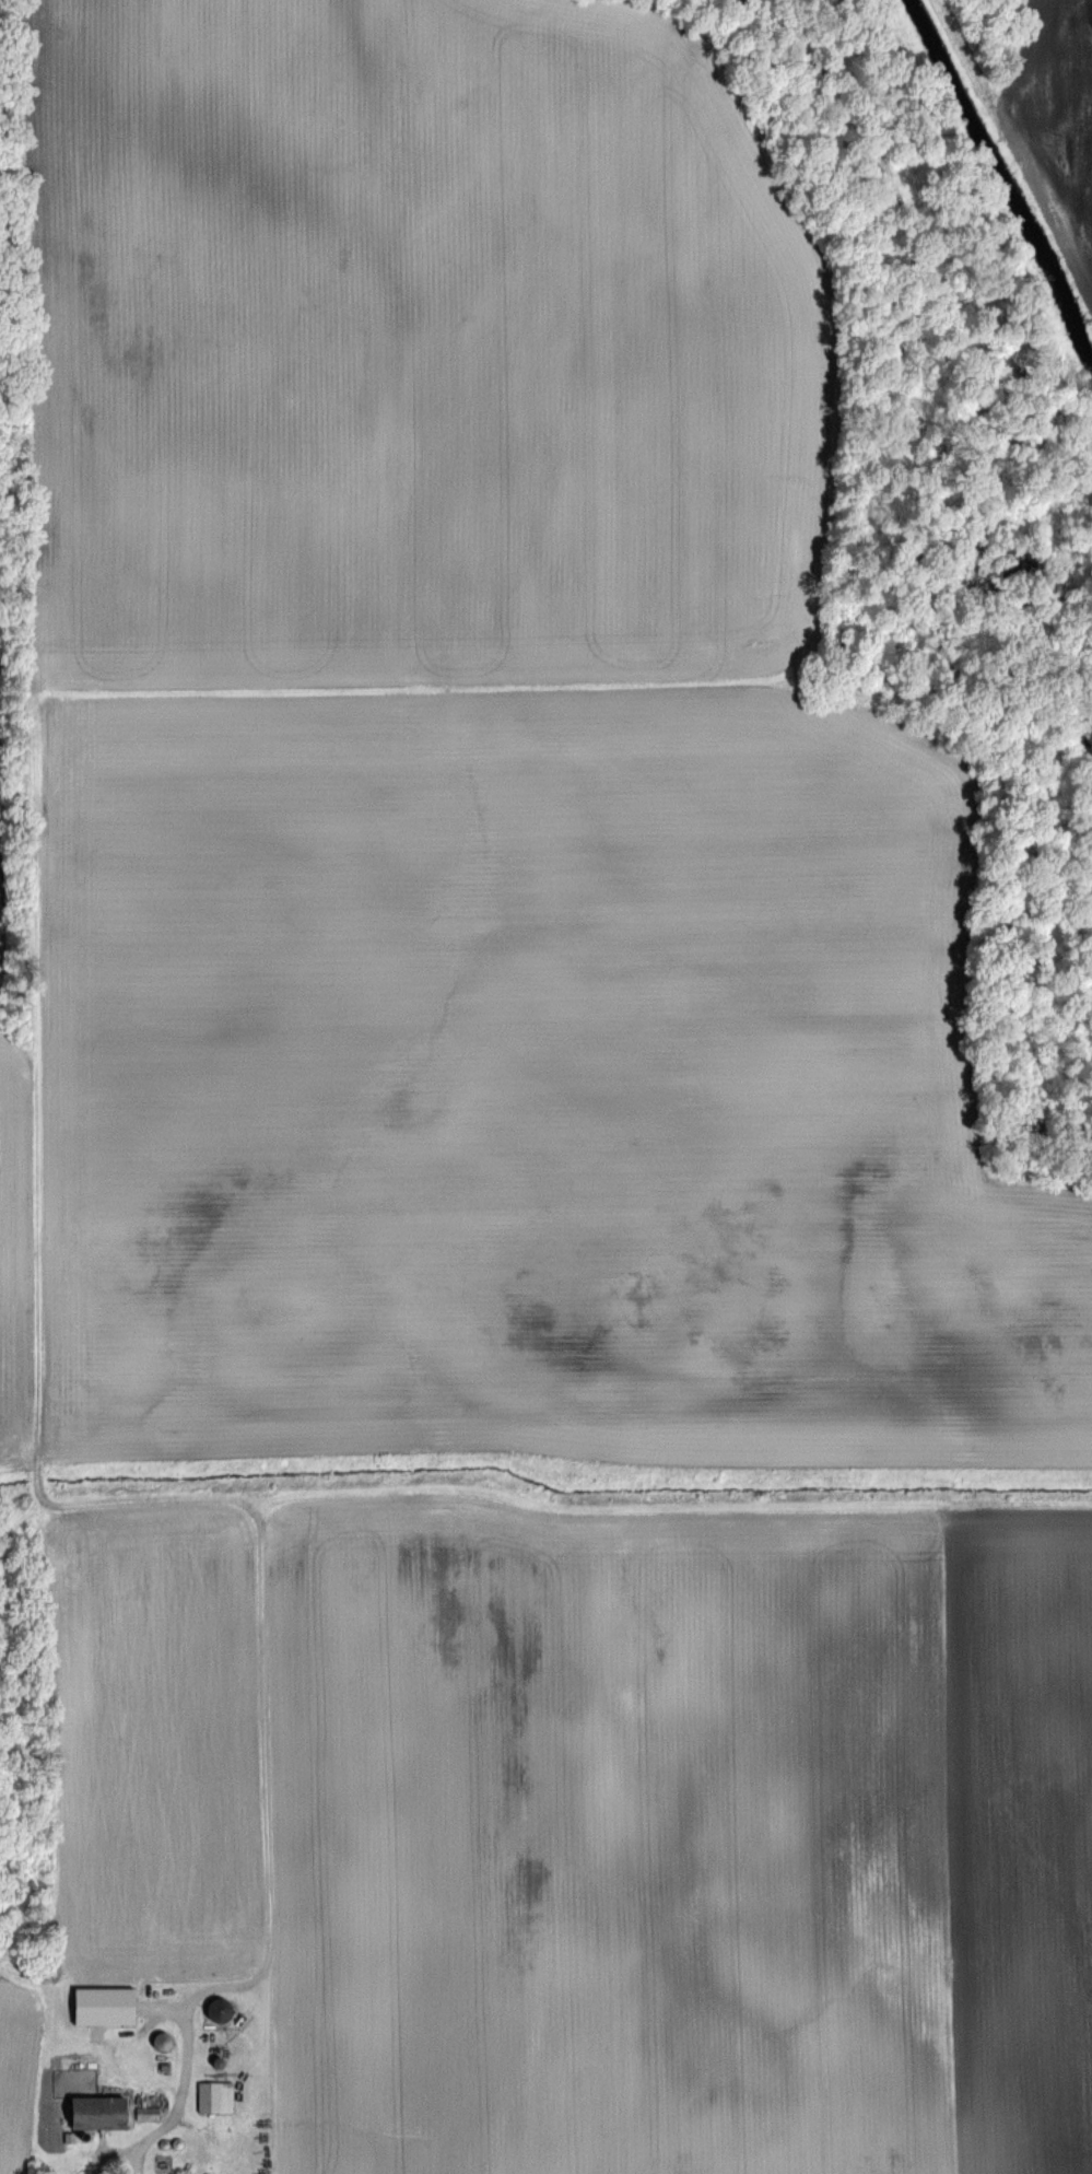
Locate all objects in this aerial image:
building: (102, 2006)
building: (218, 2012)
building: (214, 2097)
road: (173, 2101)
building: (94, 2113)

